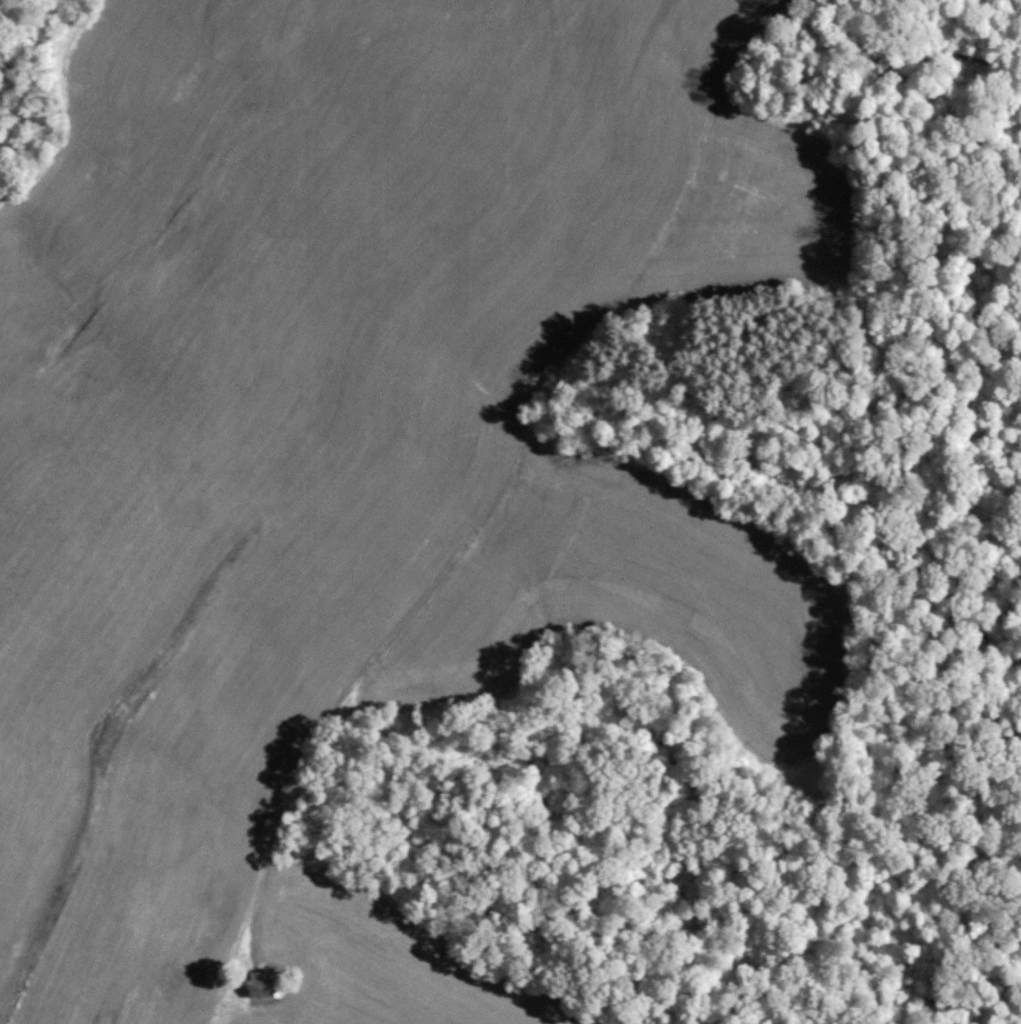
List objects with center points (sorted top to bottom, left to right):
building: (267, 983)

